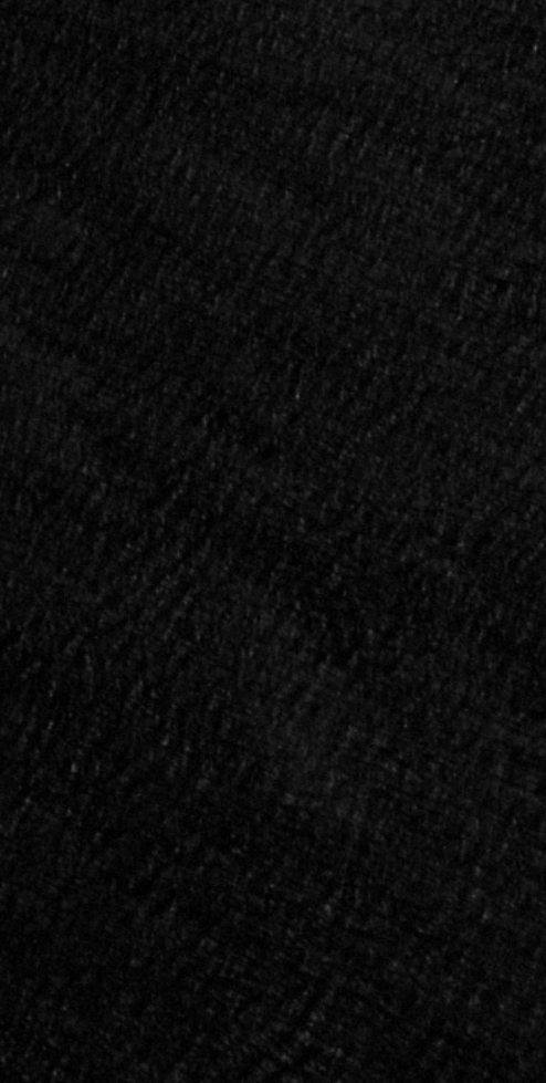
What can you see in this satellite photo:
river: (74, 983)

